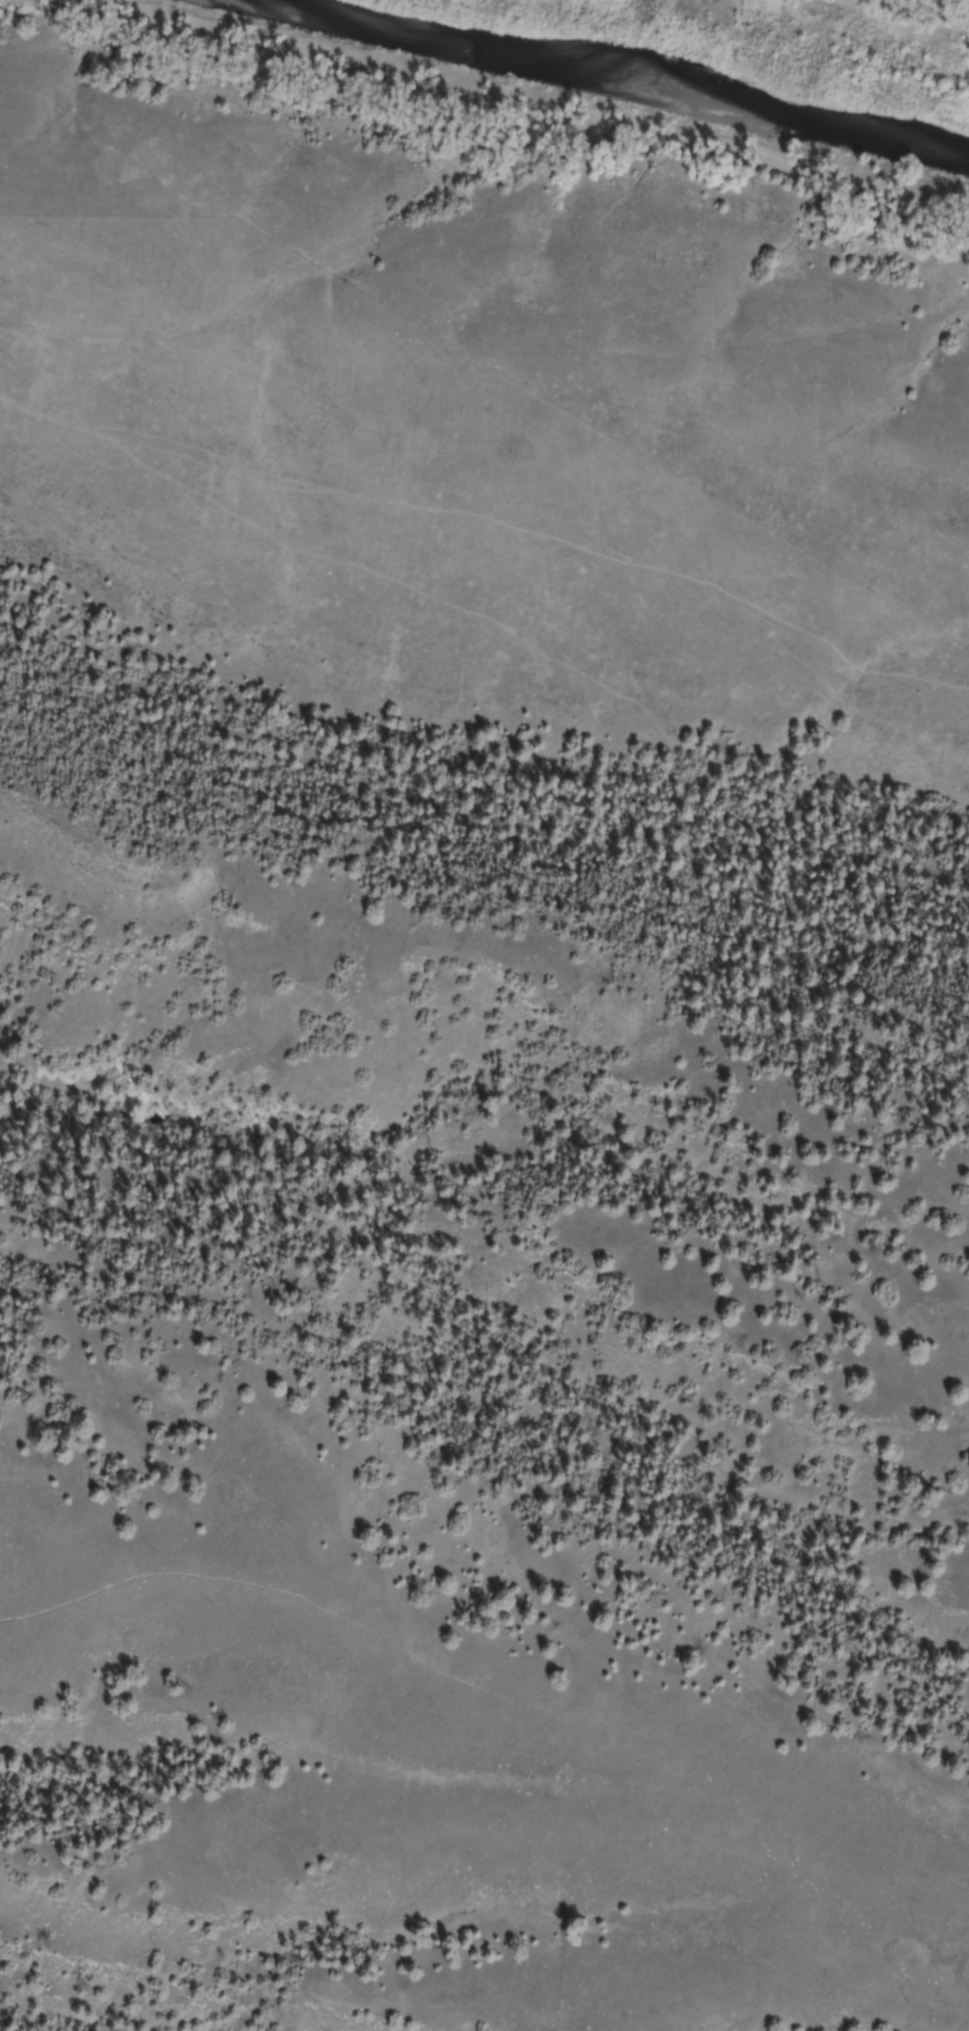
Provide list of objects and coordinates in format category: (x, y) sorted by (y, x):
river: (811, 51)

